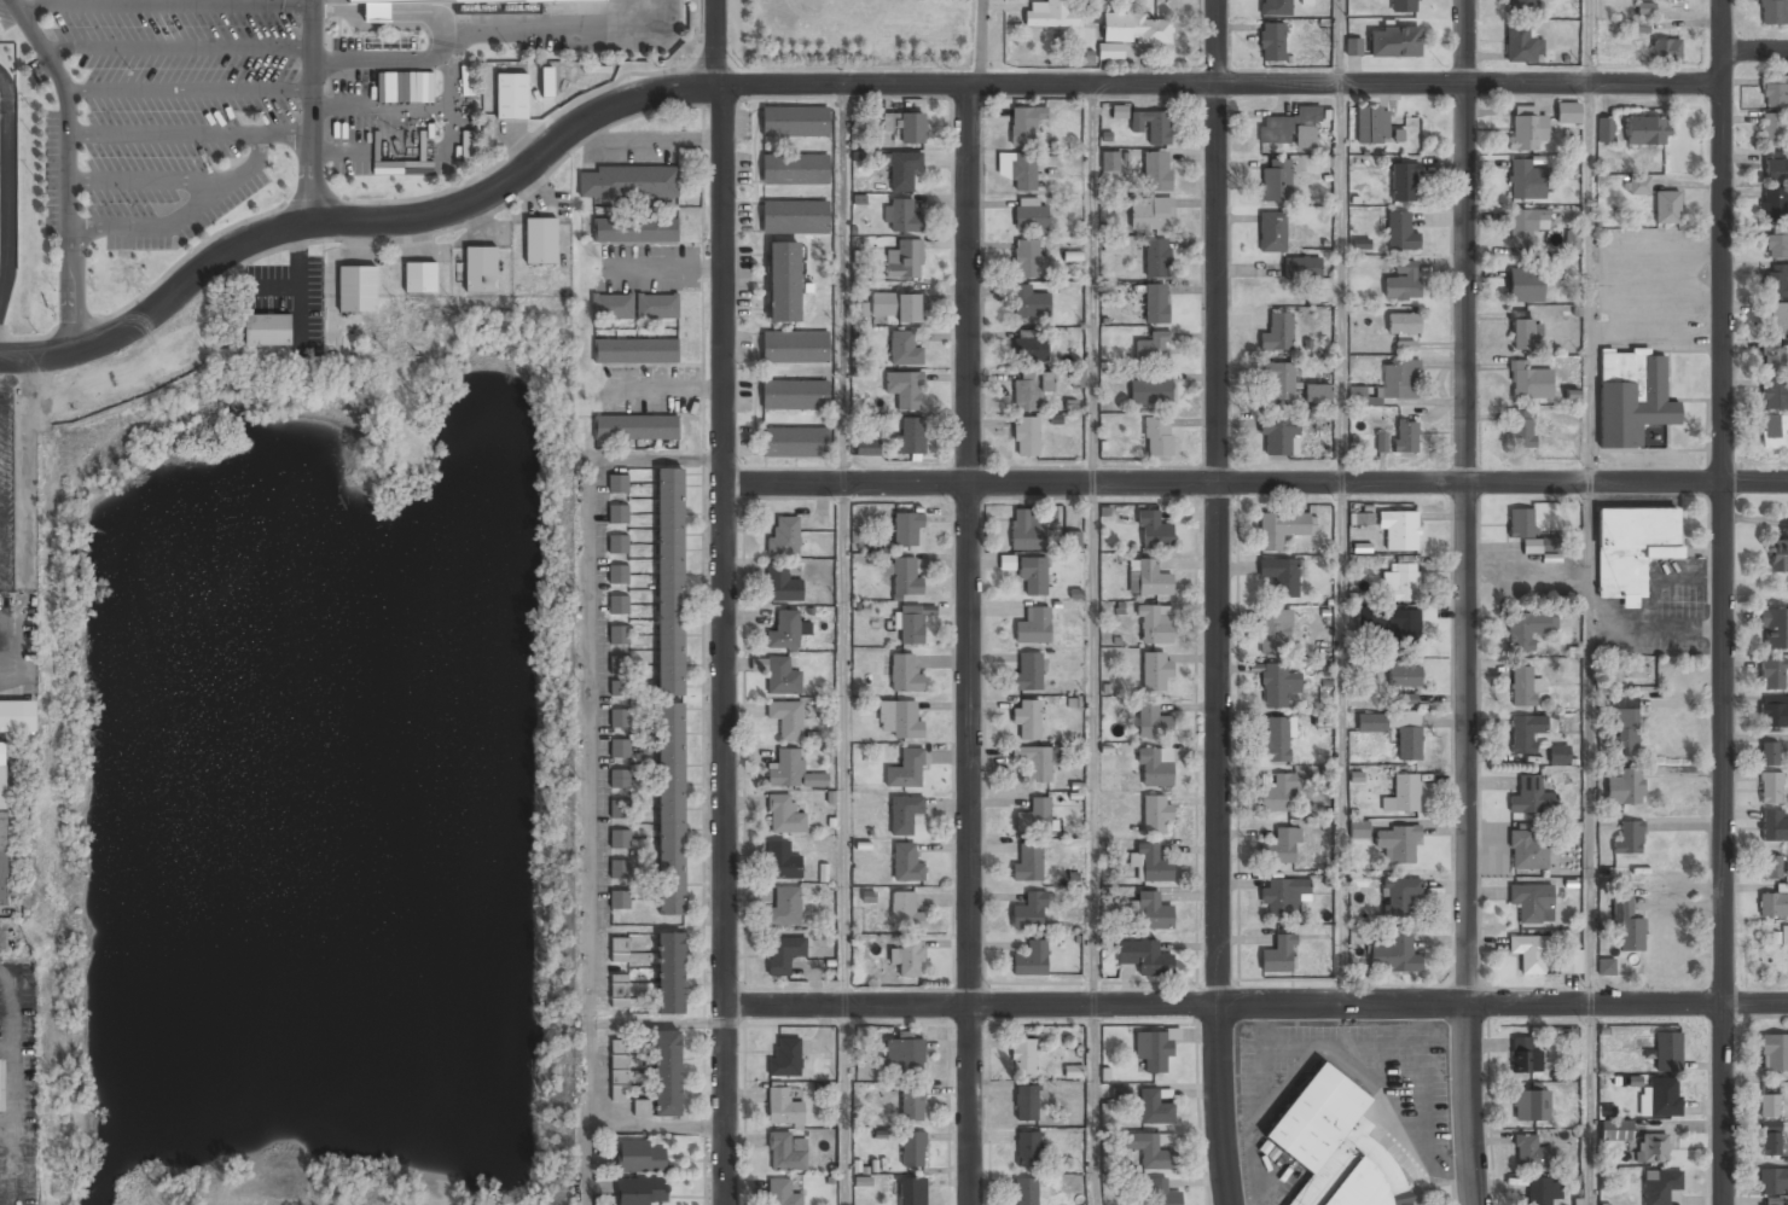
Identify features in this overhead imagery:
building: (470, 1)
building: (1403, 6)
building: (1522, 6)
building: (1275, 8)
building: (1644, 8)
building: (1774, 12)
building: (1049, 13)
building: (1639, 25)
building: (1136, 30)
building: (1271, 41)
building: (1393, 41)
building: (389, 42)
road: (715, 42)
road: (1340, 42)
road: (1587, 42)
building: (1521, 43)
building: (1353, 46)
building: (1665, 50)
road: (1754, 50)
building: (1110, 51)
building: (547, 78)
road: (825, 86)
building: (1774, 91)
building: (511, 97)
road: (64, 107)
parking lot: (221, 107)
road: (308, 112)
building: (1567, 112)
building: (794, 120)
building: (1023, 124)
building: (905, 126)
building: (1151, 126)
building: (1371, 126)
building: (1291, 128)
building: (1526, 129)
building: (1603, 129)
building: (1771, 129)
building: (1644, 130)
building: (1109, 161)
building: (794, 168)
building: (902, 169)
building: (1018, 169)
building: (1156, 170)
building: (1775, 170)
building: (1276, 180)
building: (1525, 180)
building: (1403, 181)
building: (627, 182)
building: (1637, 185)
building: (1774, 204)
building: (1666, 206)
building: (901, 214)
building: (1150, 214)
building: (1029, 215)
building: (795, 217)
building: (1526, 226)
building: (634, 228)
building: (1271, 231)
building: (1400, 231)
building: (539, 241)
building: (1572, 241)
building: (1110, 245)
building: (1777, 246)
building: (1156, 257)
building: (905, 258)
building: (1026, 258)
building: (1301, 267)
building: (480, 269)
building: (418, 278)
building: (1403, 280)
building: (1775, 281)
building: (783, 283)
building: (1525, 285)
road: (75, 289)
building: (356, 290)
building: (1028, 301)
building: (1155, 303)
building: (634, 305)
building: (895, 307)
building: (1776, 319)
building: (1403, 322)
building: (266, 331)
building: (1525, 331)
building: (1277, 333)
building: (1031, 345)
building: (1405, 345)
building: (794, 347)
building: (1154, 347)
building: (904, 349)
building: (635, 350)
building: (1772, 357)
building: (1278, 380)
building: (1528, 380)
building: (1388, 383)
building: (904, 389)
building: (1028, 390)
building: (1149, 391)
building: (1316, 392)
building: (1775, 394)
building: (794, 395)
building: (1631, 396)
building: (635, 427)
building: (1520, 429)
building: (1774, 431)
building: (911, 435)
building: (1026, 436)
building: (1157, 436)
building: (1277, 436)
building: (1405, 436)
building: (794, 442)
building: (866, 446)
building: (617, 483)
road: (1256, 484)
building: (617, 513)
building: (1360, 517)
building: (1521, 523)
building: (907, 528)
building: (1399, 528)
building: (1026, 529)
building: (1279, 529)
building: (1153, 530)
building: (784, 536)
building: (1072, 540)
building: (617, 543)
building: (1550, 543)
road: (843, 545)
road: (1092, 545)
road: (1341, 545)
road: (1587, 545)
building: (1631, 548)
building: (1778, 557)
building: (619, 574)
building: (1033, 576)
building: (905, 577)
building: (1148, 577)
building: (1281, 577)
building: (669, 581)
building: (1399, 581)
building: (780, 584)
road: (1218, 602)
road: (1465, 602)
road: (1722, 602)
building: (619, 605)
building: (1154, 623)
building: (910, 624)
building: (1033, 625)
building: (1404, 628)
building: (784, 629)
building: (1528, 629)
building: (1774, 629)
building: (1273, 631)
building: (619, 634)
road: (726, 645)
road: (969, 645)
building: (620, 664)
building: (1027, 671)
building: (1155, 671)
building: (904, 673)
building: (1772, 673)
building: (1404, 674)
building: (780, 676)
building: (1277, 685)
building: (620, 687)
building: (1522, 687)
building: (1405, 699)
building: (1774, 711)
building: (17, 716)
building: (620, 717)
building: (1027, 717)
building: (786, 718)
building: (898, 718)
building: (1151, 721)
building: (1394, 729)
building: (1624, 729)
building: (1526, 733)
building: (1276, 740)
building: (619, 749)
building: (1767, 753)
building: (1558, 755)
building: (1034, 762)
building: (1154, 767)
building: (905, 769)
building: (791, 772)
building: (619, 779)
building: (1624, 787)
building: (1770, 787)
building: (1277, 792)
building: (1401, 794)
building: (1531, 797)
building: (669, 808)
building: (616, 809)
building: (902, 814)
building: (1155, 814)
building: (784, 815)
building: (1033, 817)
building: (4, 819)
building: (1774, 826)
building: (1358, 828)
building: (1630, 836)
building: (619, 838)
building: (1397, 844)
building: (1279, 846)
building: (1528, 850)
building: (780, 860)
building: (905, 862)
building: (1027, 863)
building: (1150, 863)
building: (1771, 867)
building: (619, 869)
building: (1283, 896)
building: (1398, 896)
building: (619, 900)
building: (1532, 902)
building: (1774, 904)
building: (784, 906)
building: (904, 912)
building: (1153, 912)
building: (1028, 913)
building: (1627, 926)
building: (1784, 936)
road: (4, 939)
building: (619, 949)
building: (783, 953)
building: (1529, 953)
building: (1278, 954)
building: (1393, 954)
building: (907, 956)
building: (1144, 956)
building: (1031, 959)
building: (1569, 961)
building: (1606, 966)
building: (669, 973)
building: (619, 988)
road: (1255, 1005)
building: (1154, 1050)
building: (1667, 1052)
building: (1774, 1052)
building: (905, 1054)
building: (1022, 1056)
building: (1523, 1056)
building: (784, 1058)
building: (619, 1066)
building: (667, 1073)
building: (1660, 1098)
building: (1026, 1102)
building: (1770, 1102)
road: (846, 1105)
building: (911, 1105)
road: (1093, 1105)
building: (1531, 1105)
road: (1589, 1105)
building: (782, 1107)
building: (1154, 1107)
building: (1615, 1130)
building: (1770, 1139)
building: (1335, 1146)
building: (913, 1147)
building: (1651, 1148)
building: (1028, 1149)
building: (1148, 1149)
building: (788, 1152)
building: (1529, 1152)
building: (639, 1157)
building: (1772, 1181)
building: (1659, 1186)
building: (908, 1189)
building: (1026, 1191)
building: (1537, 1191)
building: (639, 1192)
building: (1161, 1192)
building: (782, 1193)
building: (1771, 1201)

